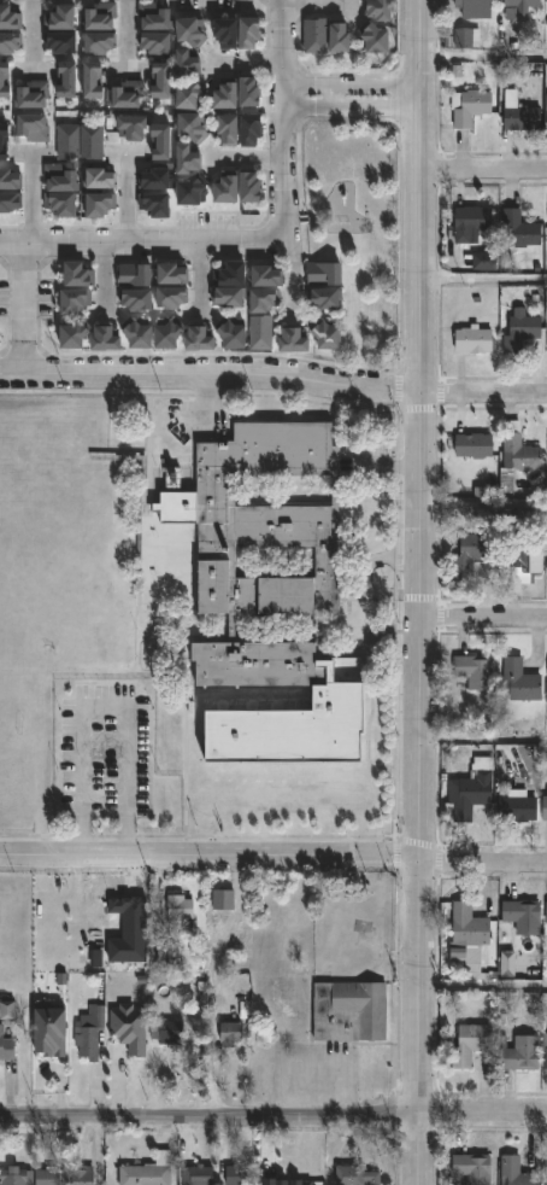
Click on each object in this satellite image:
building: (519, 6)
road: (319, 7)
building: (472, 8)
building: (383, 10)
building: (104, 16)
building: (157, 16)
building: (10, 17)
building: (64, 18)
road: (34, 22)
building: (195, 30)
building: (230, 31)
building: (253, 31)
road: (128, 33)
building: (317, 35)
building: (343, 37)
building: (464, 37)
building: (378, 39)
building: (10, 42)
building: (63, 42)
building: (100, 42)
building: (158, 42)
road: (480, 56)
road: (251, 63)
building: (190, 64)
building: (69, 78)
road: (286, 78)
building: (7, 81)
building: (98, 81)
building: (164, 81)
road: (349, 82)
building: (253, 92)
building: (229, 94)
building: (35, 95)
building: (129, 95)
building: (194, 95)
building: (466, 106)
road: (349, 109)
building: (518, 113)
building: (196, 125)
building: (34, 127)
building: (136, 127)
building: (231, 129)
building: (255, 130)
building: (5, 141)
building: (69, 141)
building: (94, 141)
building: (165, 142)
road: (252, 158)
building: (190, 159)
road: (480, 171)
building: (61, 179)
building: (158, 179)
building: (11, 180)
building: (101, 180)
building: (231, 188)
building: (254, 188)
building: (194, 191)
road: (413, 195)
road: (33, 197)
road: (129, 199)
road: (286, 199)
building: (11, 203)
building: (64, 203)
building: (102, 204)
building: (157, 204)
building: (467, 222)
building: (517, 229)
road: (142, 241)
building: (483, 262)
road: (196, 270)
road: (101, 274)
building: (135, 274)
building: (235, 274)
road: (292, 274)
building: (325, 274)
building: (80, 275)
building: (172, 275)
building: (267, 276)
road: (480, 285)
building: (171, 298)
building: (231, 298)
building: (327, 299)
building: (140, 300)
building: (263, 300)
building: (75, 302)
road: (23, 308)
building: (519, 331)
building: (264, 332)
building: (140, 333)
building: (170, 333)
building: (236, 333)
building: (76, 334)
building: (331, 334)
building: (202, 339)
building: (108, 340)
building: (295, 340)
building: (471, 340)
building: (546, 340)
road: (207, 370)
road: (480, 392)
building: (4, 443)
building: (23, 443)
building: (51, 443)
building: (470, 443)
building: (517, 449)
building: (24, 479)
building: (53, 479)
building: (80, 486)
building: (105, 486)
road: (481, 510)
building: (471, 555)
building: (520, 561)
building: (546, 566)
building: (287, 567)
building: (275, 594)
road: (481, 615)
road: (414, 626)
building: (472, 670)
building: (546, 671)
building: (518, 679)
road: (104, 707)
building: (365, 716)
building: (365, 747)
road: (481, 748)
building: (336, 783)
building: (365, 786)
building: (470, 788)
building: (260, 792)
building: (302, 795)
building: (514, 806)
building: (543, 806)
building: (336, 807)
building: (212, 809)
building: (367, 813)
road: (207, 853)
road: (480, 864)
building: (181, 909)
building: (545, 911)
building: (520, 915)
building: (466, 923)
road: (480, 985)
building: (348, 1010)
road: (414, 1022)
building: (53, 1029)
building: (167, 1031)
building: (230, 1034)
building: (90, 1035)
building: (467, 1044)
building: (6, 1045)
building: (543, 1049)
building: (517, 1051)
road: (312, 1061)
road: (51, 1070)
road: (101, 1075)
road: (8, 1091)
road: (273, 1114)
building: (471, 1167)
building: (545, 1168)
building: (149, 1171)
building: (514, 1172)
building: (237, 1174)
building: (52, 1175)
building: (198, 1175)
building: (355, 1175)
building: (17, 1177)
building: (83, 1177)

